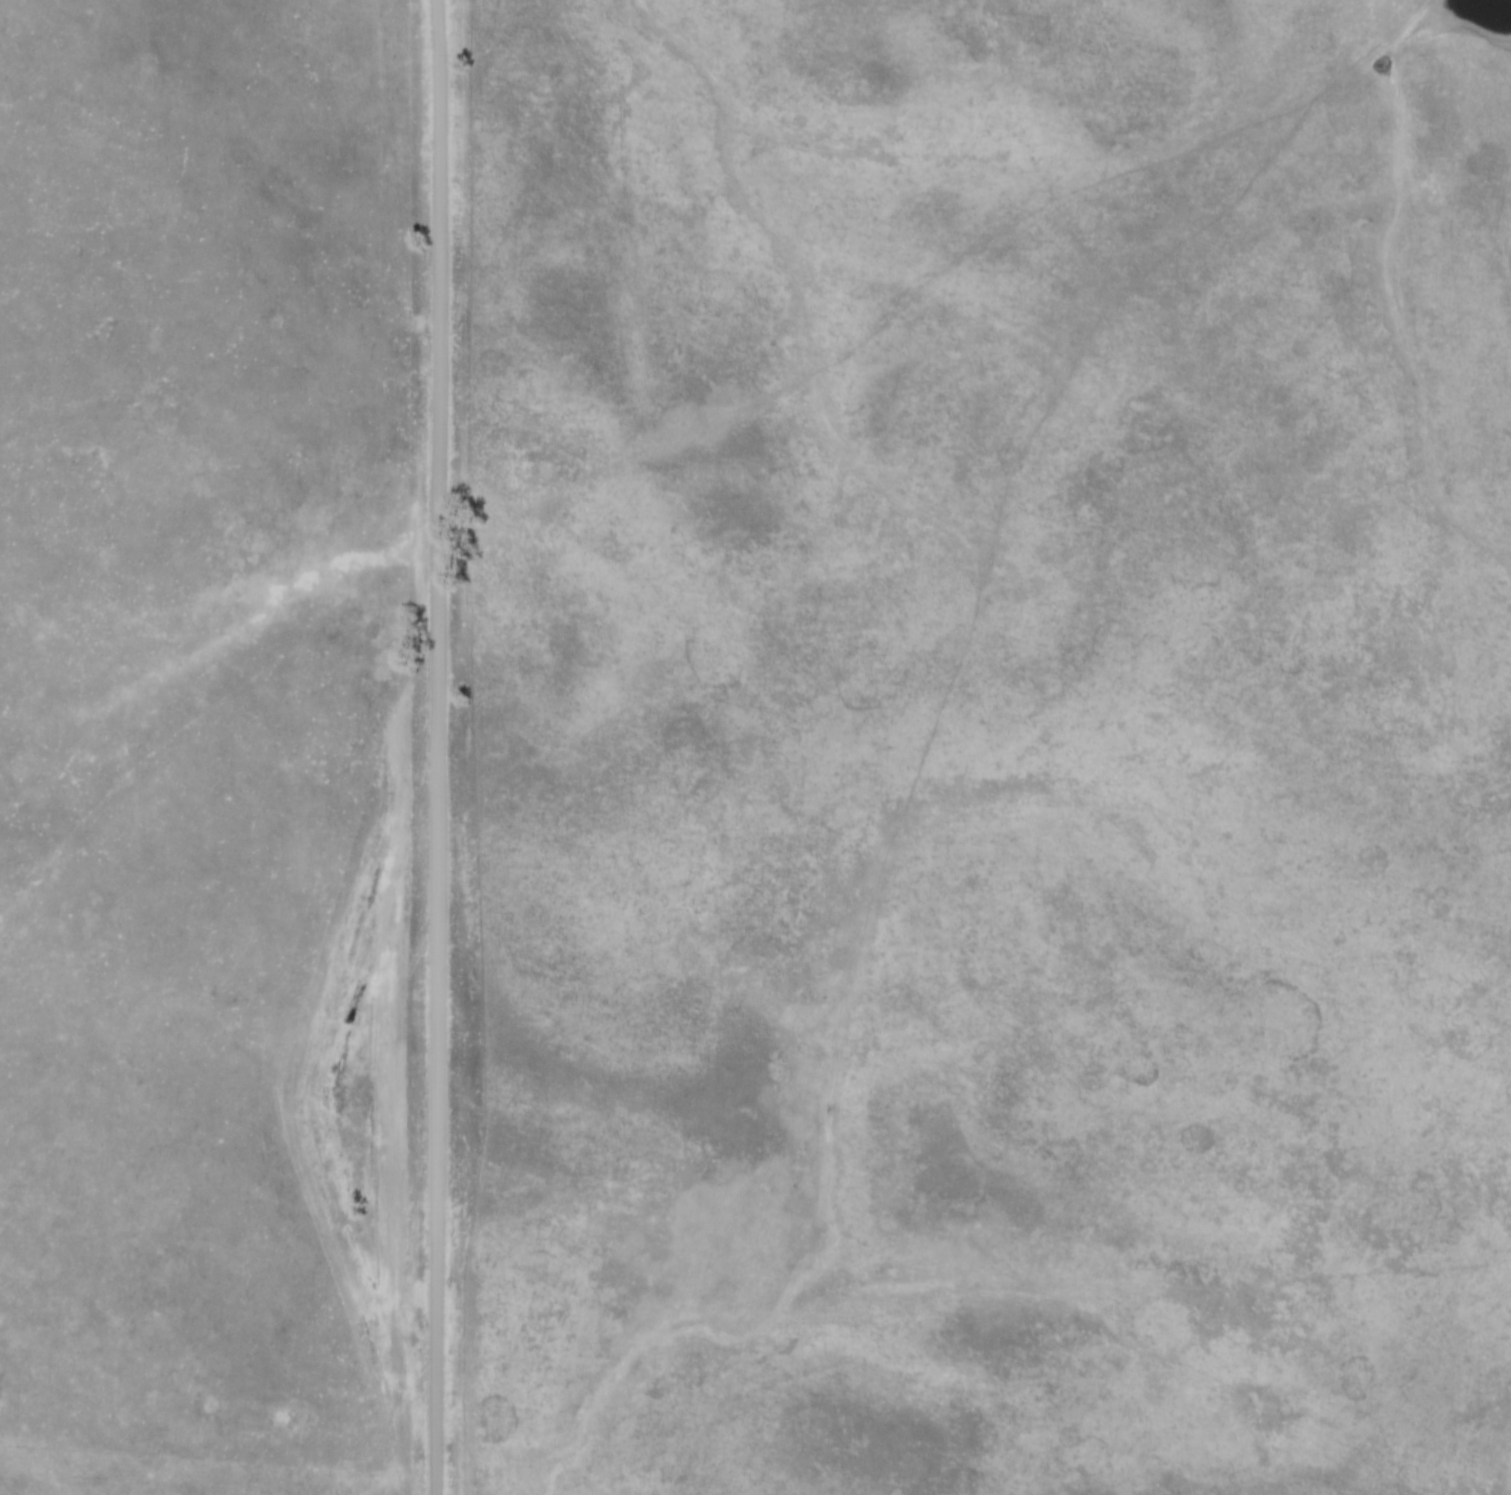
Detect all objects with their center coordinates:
road: (434, 747)

